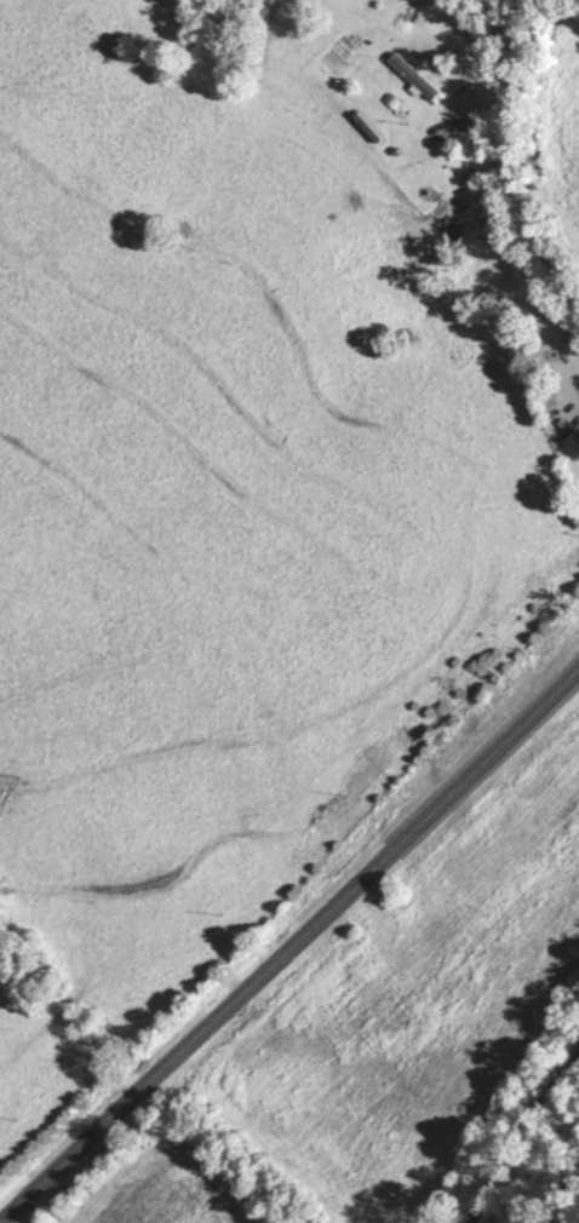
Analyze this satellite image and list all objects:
road: (523, 151)
building: (574, 444)
road: (291, 949)

